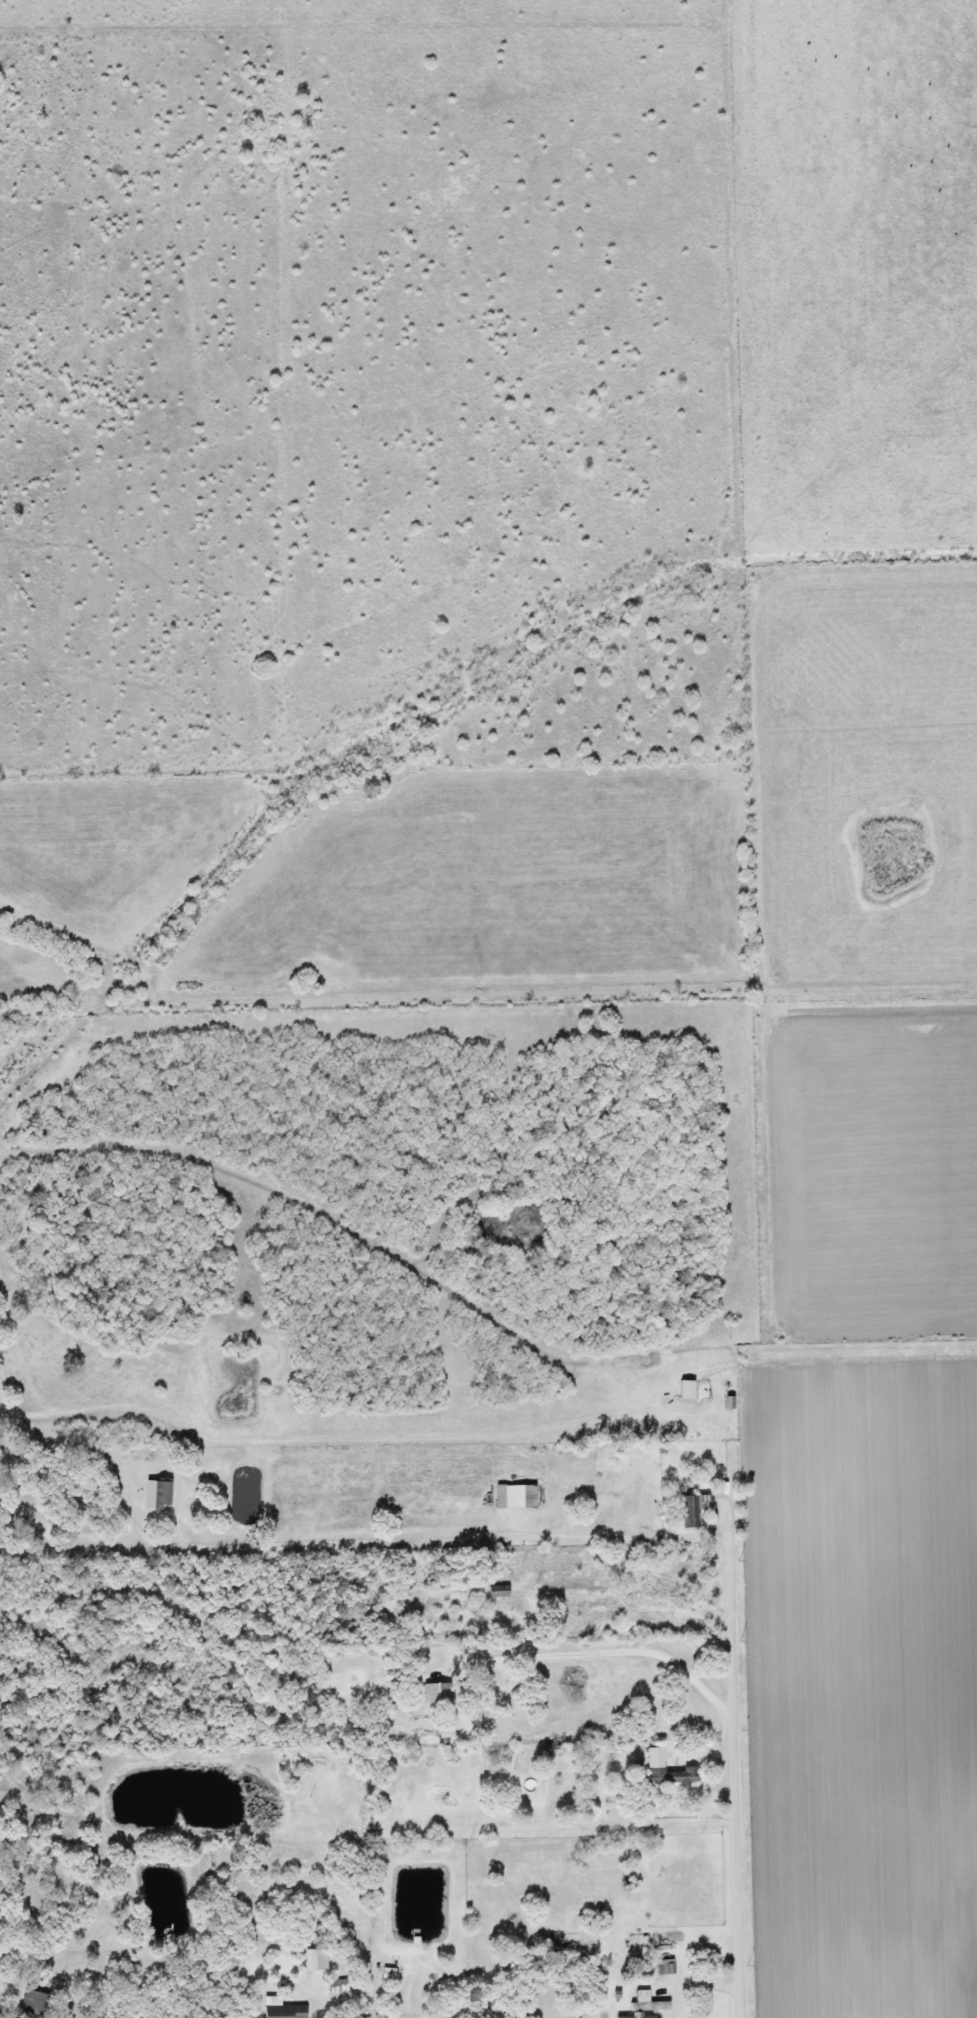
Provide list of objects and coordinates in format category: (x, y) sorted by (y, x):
road: (484, 1388)
building: (158, 1495)
building: (512, 1496)
building: (690, 1510)
road: (598, 1536)
building: (492, 1592)
building: (511, 1606)
road: (597, 1656)
building: (434, 1694)
building: (663, 1771)
road: (655, 1827)
building: (660, 1968)
building: (336, 1987)
road: (695, 1987)
building: (30, 2005)
building: (644, 2006)
building: (282, 2012)
road: (319, 2013)

